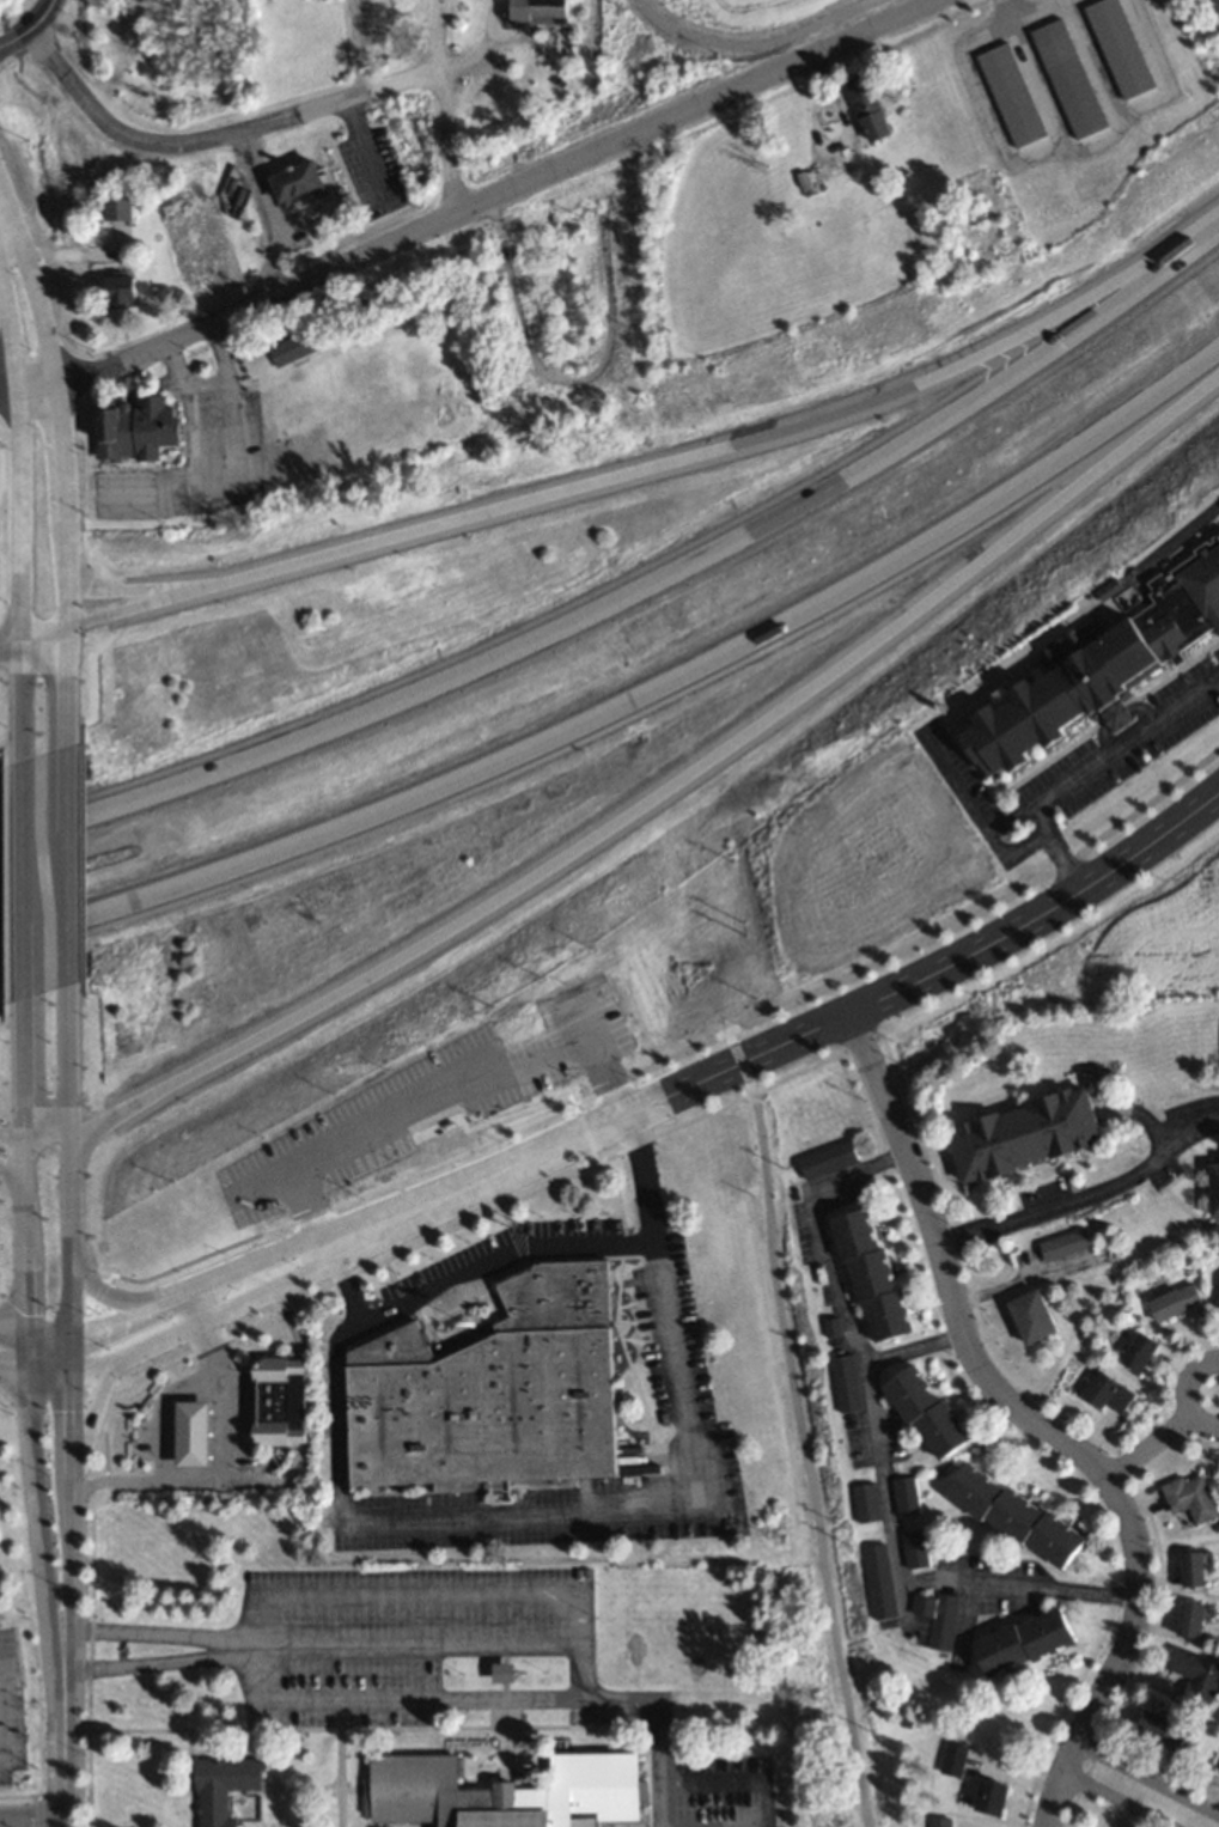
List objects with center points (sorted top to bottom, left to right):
crop: (880, 4)
crop: (744, 10)
building: (535, 11)
road: (28, 26)
road: (823, 32)
road: (748, 47)
building: (1119, 48)
building: (1068, 80)
building: (1011, 97)
road: (439, 106)
building: (866, 108)
road: (212, 138)
road: (361, 152)
building: (294, 184)
road: (487, 196)
building: (115, 207)
road: (264, 212)
building: (193, 242)
road: (1187, 252)
building: (117, 293)
building: (289, 349)
road: (556, 379)
road: (209, 382)
road: (25, 384)
road: (53, 412)
building: (133, 428)
road: (682, 461)
road: (17, 465)
road: (224, 488)
road: (127, 587)
road: (598, 599)
road: (128, 608)
road: (41, 632)
road: (8, 644)
building: (1097, 665)
road: (63, 684)
road: (18, 701)
road: (634, 706)
road: (1089, 768)
road: (668, 788)
road: (971, 806)
road: (1001, 860)
road: (62, 863)
road: (20, 878)
road: (981, 906)
crop: (1150, 930)
road: (985, 938)
road: (573, 1012)
road: (65, 1056)
road: (664, 1060)
road: (599, 1071)
road: (676, 1086)
road: (23, 1096)
parking lot: (425, 1101)
road: (389, 1112)
road: (1140, 1112)
building: (1020, 1135)
road: (33, 1138)
building: (825, 1161)
road: (13, 1180)
road: (473, 1180)
building: (1213, 1188)
road: (1084, 1195)
road: (67, 1199)
building: (1062, 1244)
road: (500, 1257)
road: (233, 1268)
building: (868, 1274)
road: (250, 1277)
road: (26, 1289)
road: (102, 1295)
road: (71, 1301)
road: (193, 1302)
building: (1171, 1302)
building: (1217, 1302)
road: (200, 1315)
building: (1029, 1316)
road: (108, 1320)
traffic signals: (29, 1334)
road: (35, 1334)
traffic signals: (72, 1334)
road: (912, 1350)
building: (1135, 1351)
road: (71, 1357)
road: (13, 1376)
traffic signals: (26, 1380)
road: (48, 1380)
traffic signals: (71, 1381)
building: (845, 1383)
building: (490, 1390)
building: (1104, 1390)
road: (1180, 1390)
building: (275, 1400)
building: (924, 1412)
road: (1037, 1421)
road: (792, 1429)
road: (84, 1432)
building: (188, 1433)
road: (876, 1444)
road: (1147, 1445)
street lamp: (51, 1451)
road: (221, 1470)
building: (903, 1496)
building: (1188, 1497)
building: (865, 1503)
road: (583, 1512)
building: (1011, 1515)
building: (914, 1549)
building: (1191, 1569)
building: (878, 1582)
road: (415, 1592)
road: (44, 1595)
road: (66, 1595)
building: (935, 1618)
building: (1188, 1620)
building: (1020, 1643)
road: (255, 1651)
building: (1194, 1676)
road: (573, 1689)
road: (659, 1724)
building: (1162, 1732)
building: (951, 1759)
road: (1146, 1778)
building: (1218, 1778)
road: (727, 1783)
building: (220, 1788)
building: (502, 1792)
building: (988, 1797)
road: (1114, 1799)
road: (31, 1811)
road: (62, 1819)
building: (937, 1822)

